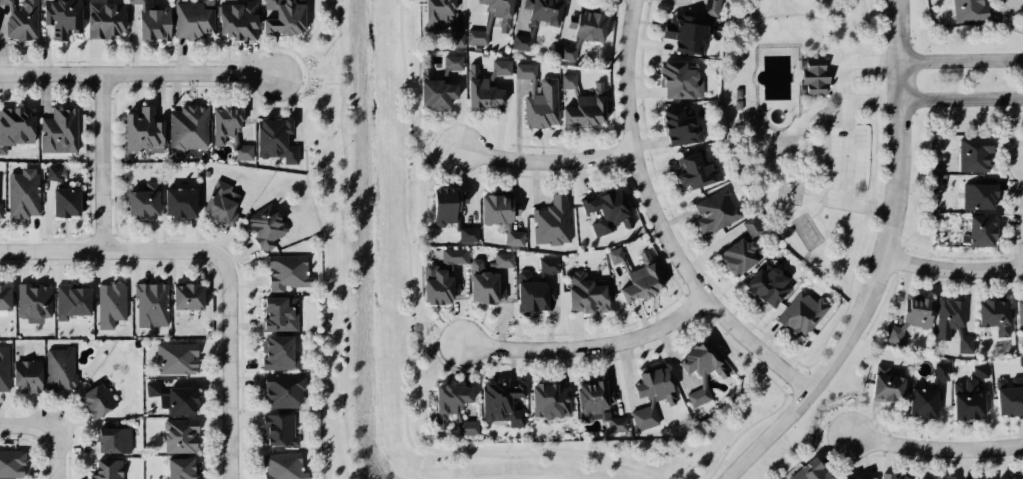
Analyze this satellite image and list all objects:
building: (705, 0)
road: (680, 1)
building: (711, 7)
building: (546, 11)
road: (793, 13)
building: (964, 13)
building: (59, 16)
building: (102, 18)
building: (284, 18)
building: (442, 19)
building: (20, 20)
building: (236, 20)
building: (192, 21)
building: (150, 22)
building: (487, 22)
building: (592, 25)
road: (830, 32)
building: (686, 36)
building: (524, 40)
road: (645, 44)
building: (569, 50)
road: (961, 59)
road: (139, 76)
building: (811, 76)
building: (676, 79)
building: (438, 80)
park: (866, 80)
building: (570, 81)
road: (309, 84)
building: (484, 84)
road: (640, 92)
building: (540, 97)
road: (961, 98)
road: (873, 99)
building: (591, 107)
road: (839, 112)
road: (517, 120)
road: (614, 121)
building: (676, 124)
building: (16, 127)
building: (187, 127)
building: (59, 129)
road: (848, 130)
building: (143, 132)
building: (229, 132)
park: (798, 132)
building: (272, 137)
road: (573, 143)
road: (542, 144)
road: (647, 144)
road: (429, 146)
park: (872, 150)
building: (976, 154)
parking lot: (848, 157)
road: (544, 161)
road: (100, 164)
building: (696, 168)
road: (653, 172)
road: (513, 176)
road: (583, 178)
road: (536, 182)
road: (812, 192)
building: (61, 194)
building: (22, 196)
building: (982, 196)
building: (175, 200)
building: (139, 201)
road: (822, 201)
road: (872, 201)
building: (219, 202)
road: (669, 208)
building: (722, 208)
building: (0, 211)
building: (447, 211)
building: (611, 211)
building: (500, 215)
road: (677, 221)
building: (553, 222)
road: (658, 222)
building: (749, 225)
building: (263, 226)
building: (986, 230)
road: (342, 240)
road: (99, 251)
building: (737, 253)
building: (618, 257)
road: (694, 263)
road: (665, 264)
road: (878, 264)
road: (951, 265)
park: (369, 266)
building: (284, 270)
building: (442, 274)
building: (487, 275)
building: (525, 276)
road: (706, 278)
building: (645, 279)
building: (764, 282)
building: (540, 289)
building: (587, 294)
building: (185, 297)
building: (4, 298)
building: (67, 301)
building: (32, 302)
building: (107, 303)
building: (149, 305)
building: (920, 310)
building: (1021, 311)
building: (798, 313)
building: (273, 314)
building: (997, 315)
building: (950, 316)
road: (642, 317)
road: (752, 320)
building: (905, 325)
road: (549, 326)
road: (577, 331)
building: (960, 331)
building: (895, 334)
road: (769, 339)
road: (431, 341)
building: (966, 344)
road: (588, 347)
building: (275, 354)
road: (404, 355)
building: (174, 356)
road: (673, 357)
road: (227, 358)
road: (511, 361)
building: (4, 366)
road: (563, 366)
building: (57, 368)
building: (883, 369)
road: (628, 370)
building: (704, 370)
building: (981, 370)
building: (942, 371)
building: (25, 372)
road: (611, 377)
building: (1017, 381)
building: (1001, 383)
building: (934, 384)
building: (976, 386)
building: (960, 387)
building: (891, 388)
building: (280, 391)
building: (172, 396)
building: (654, 396)
building: (496, 397)
building: (92, 399)
building: (552, 400)
building: (1010, 401)
building: (926, 402)
building: (602, 404)
building: (971, 406)
building: (453, 409)
road: (943, 415)
road: (873, 420)
road: (1022, 424)
road: (749, 425)
road: (27, 429)
building: (276, 430)
building: (176, 436)
road: (937, 436)
building: (110, 441)
road: (836, 445)
road: (936, 448)
road: (54, 454)
road: (850, 454)
road: (890, 457)
road: (1002, 461)
road: (927, 462)
building: (8, 463)
road: (965, 463)
building: (283, 466)
building: (106, 469)
building: (180, 469)
building: (809, 472)
building: (845, 478)
building: (853, 478)
building: (893, 478)
building: (921, 478)
building: (1013, 478)

